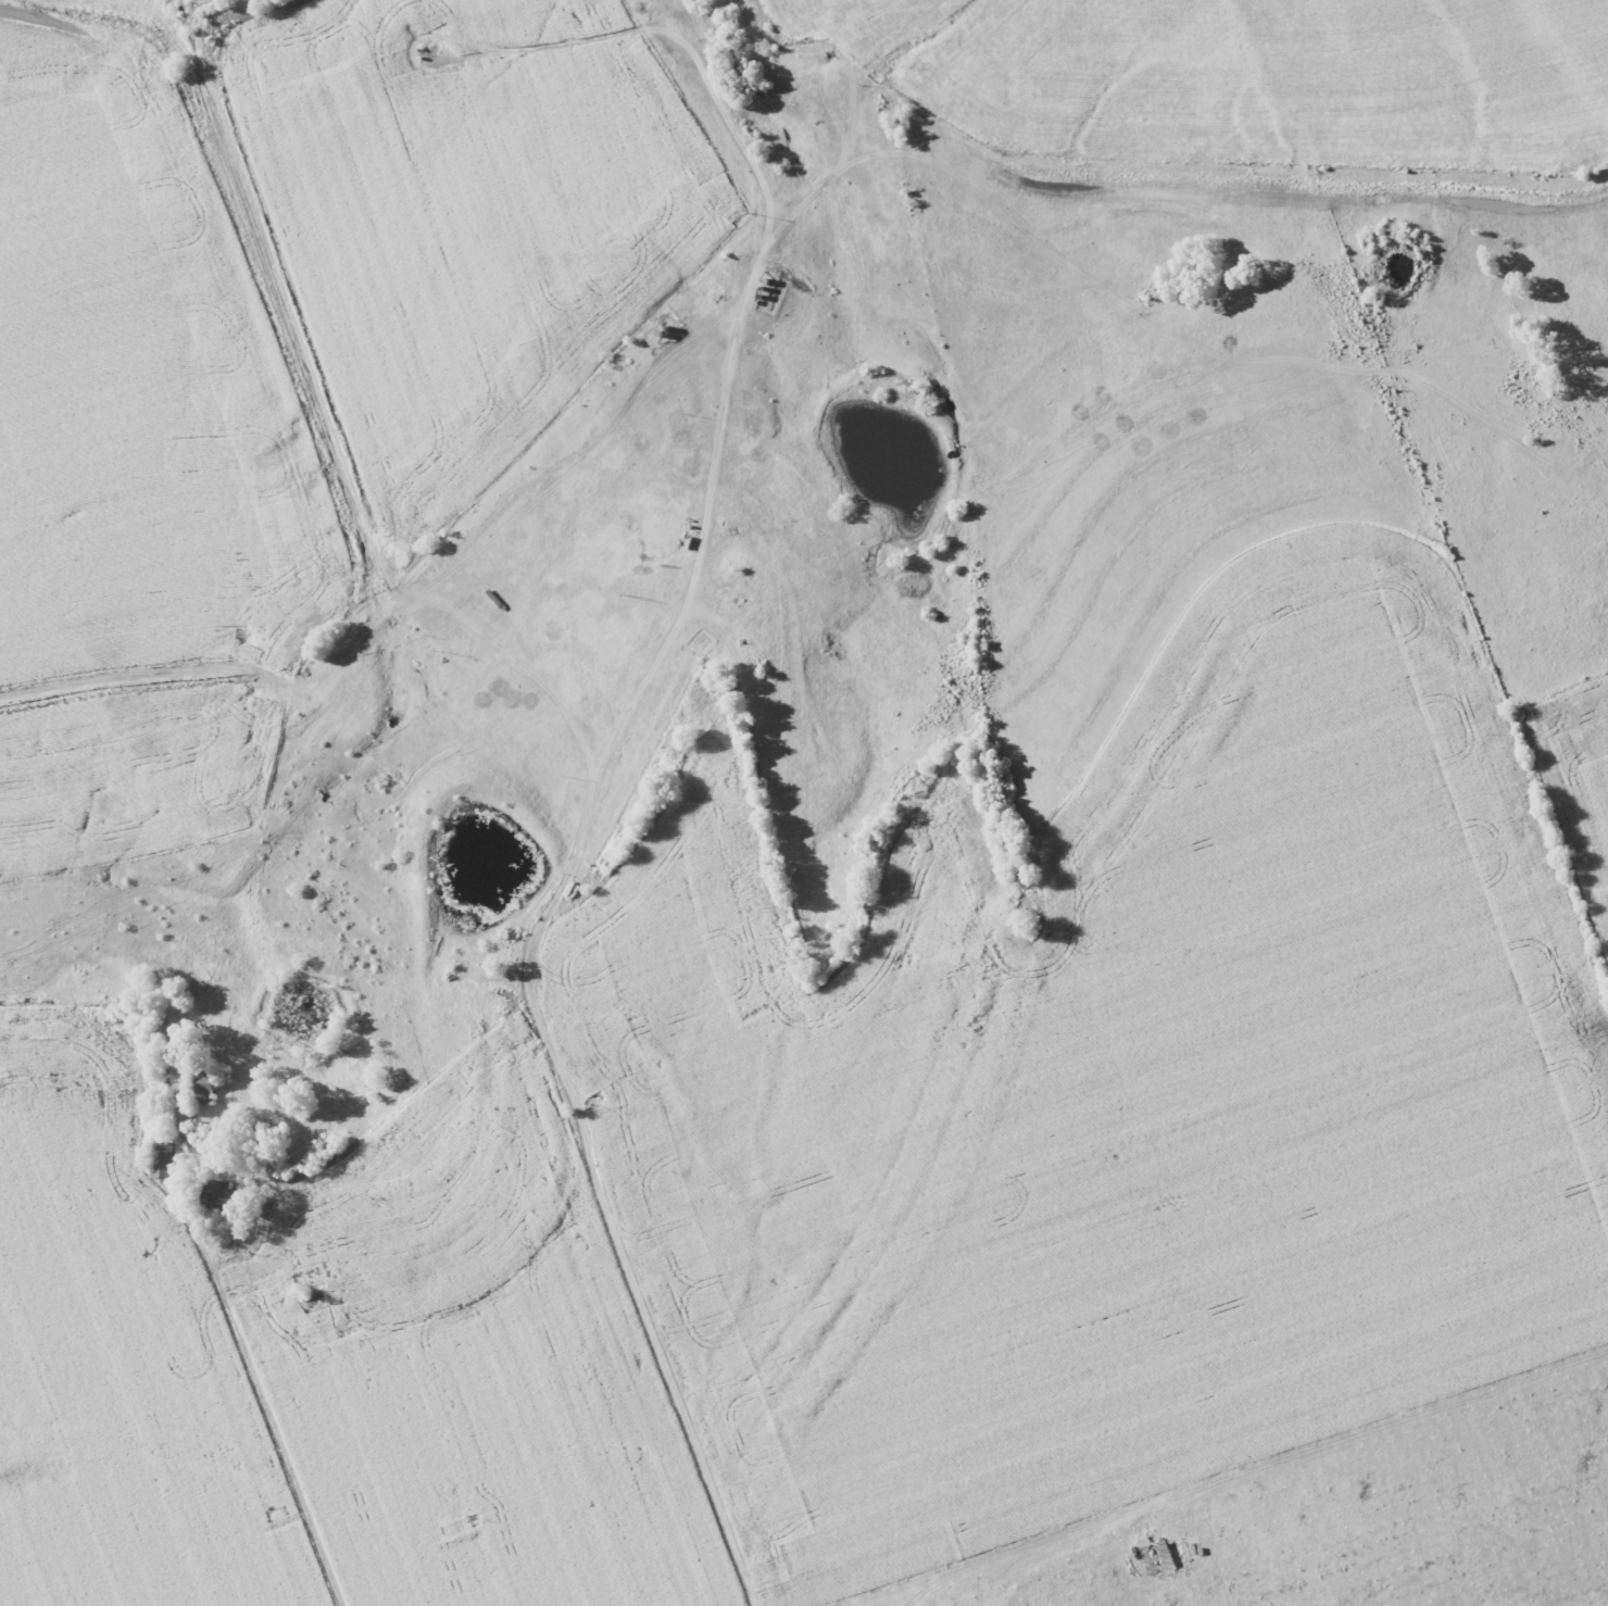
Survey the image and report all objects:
road: (276, 1401)

